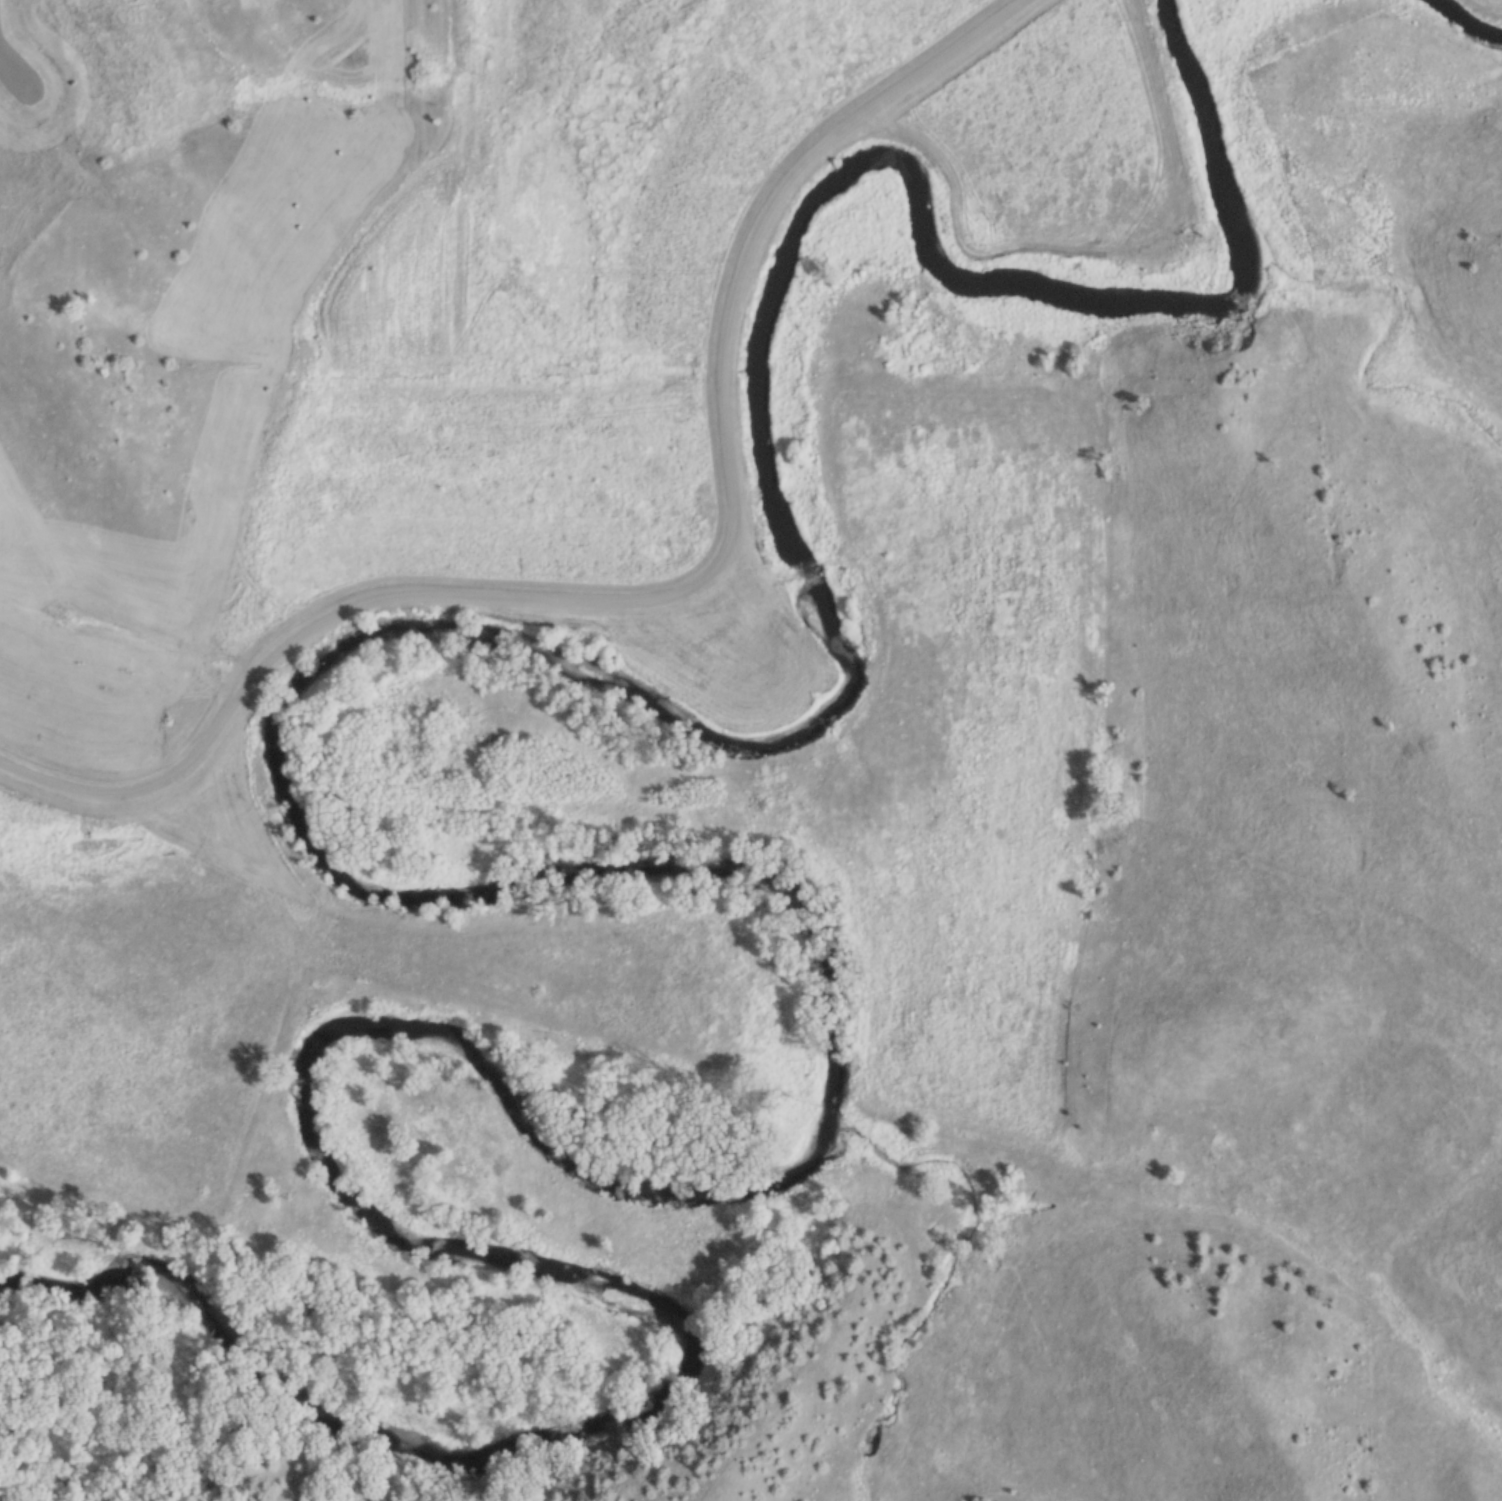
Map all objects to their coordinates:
river: (1473, 18)
road: (9, 67)
road: (682, 603)
river: (589, 863)

